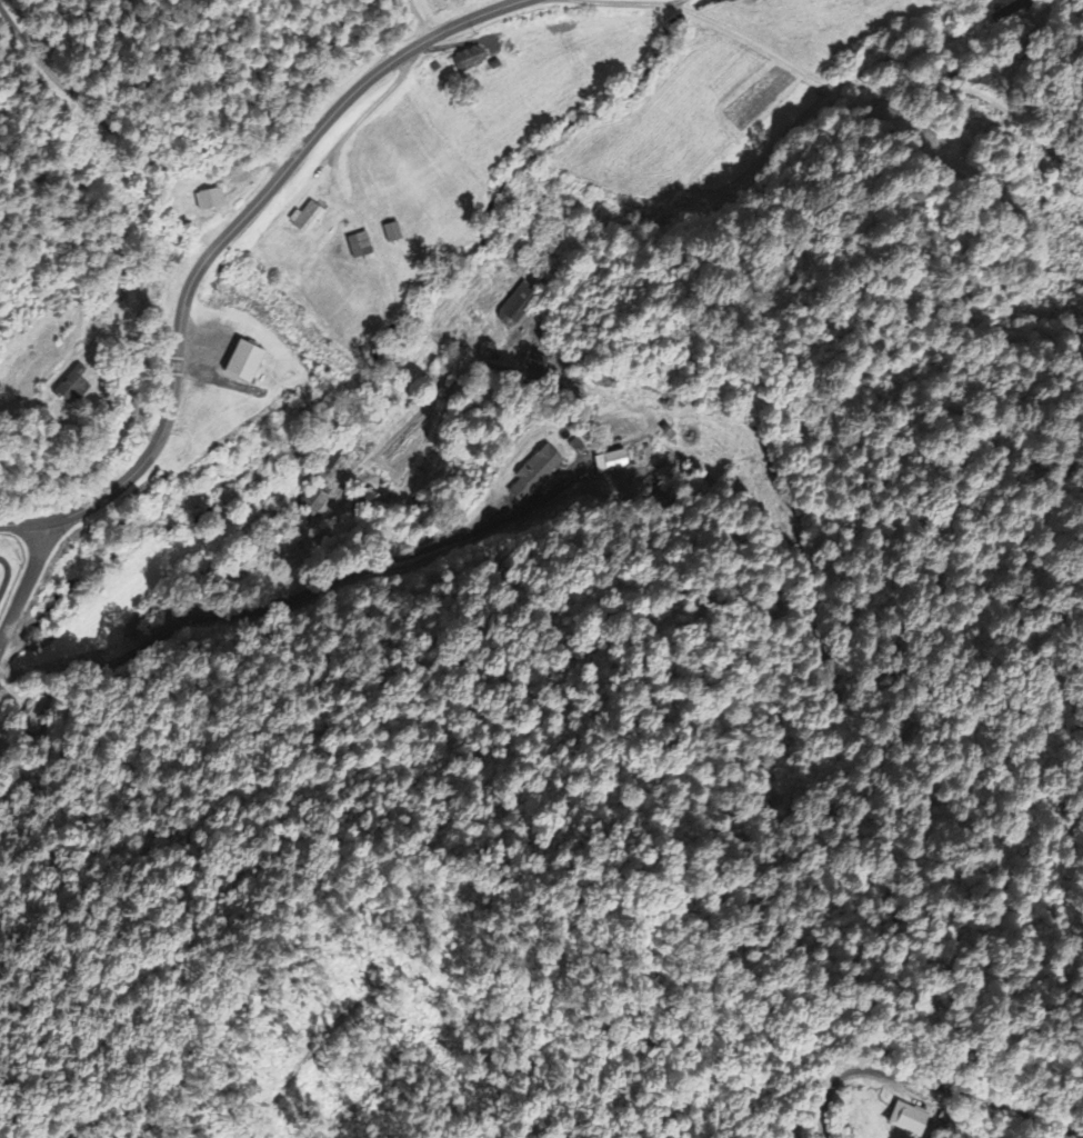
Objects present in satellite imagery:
road: (896, 62)
road: (124, 141)
building: (211, 201)
building: (310, 220)
building: (394, 234)
road: (217, 243)
building: (361, 248)
building: (519, 307)
building: (248, 363)
building: (73, 389)
building: (612, 465)
building: (540, 477)
road: (30, 568)
road: (6, 627)
road: (159, 627)
road: (878, 1075)
road: (1031, 1115)
building: (906, 1121)

